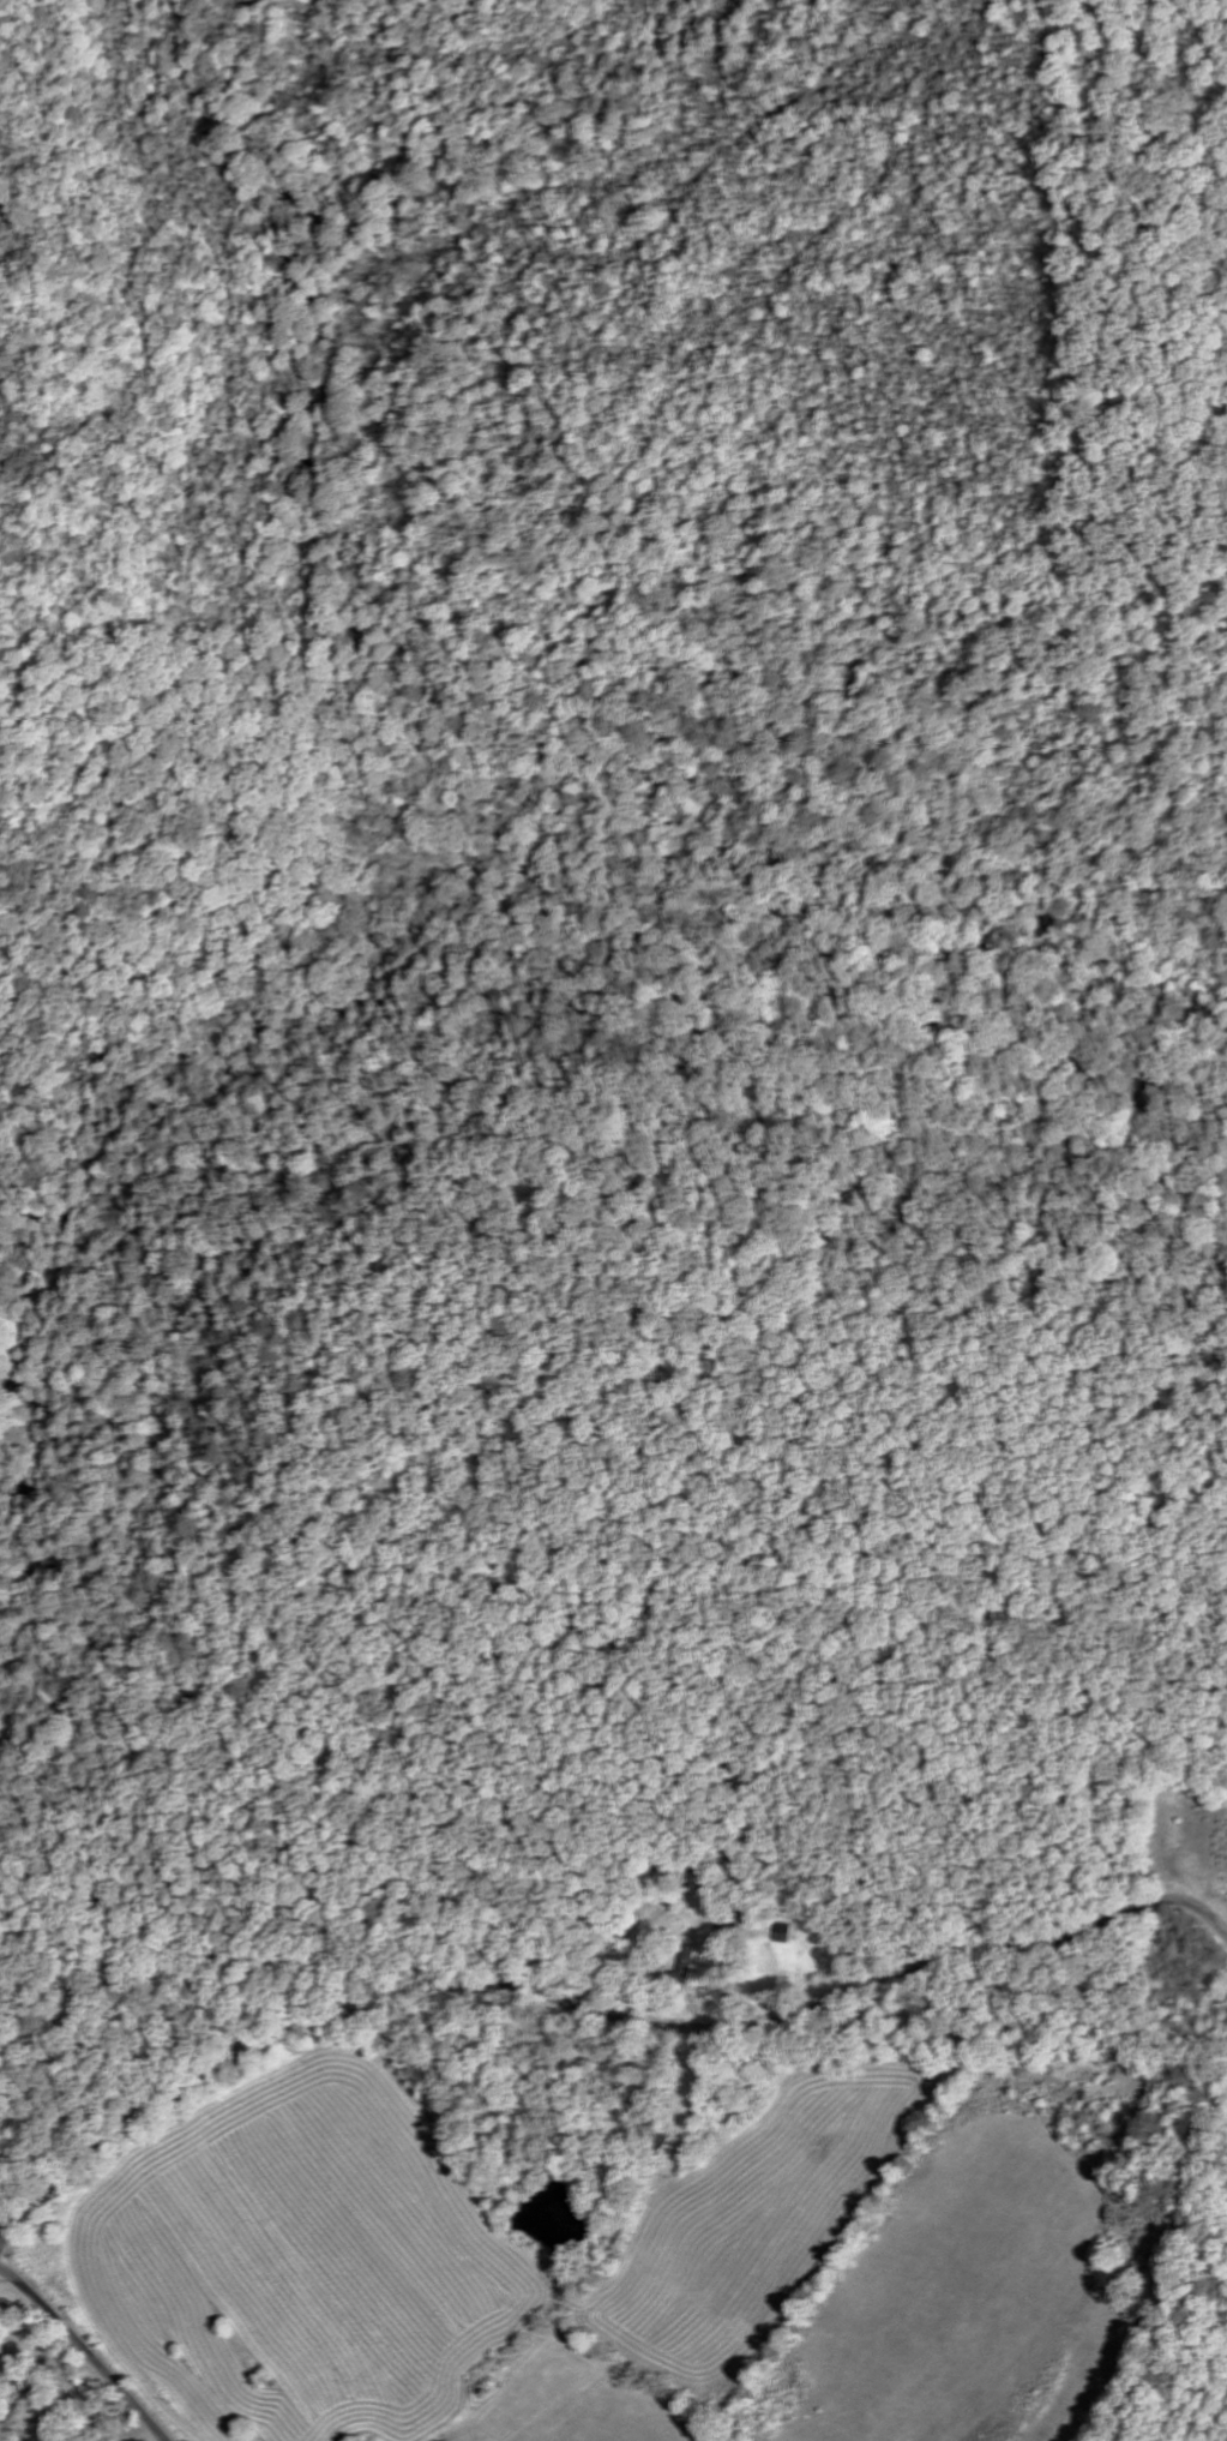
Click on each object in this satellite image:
road: (590, 2011)
road: (82, 2353)

